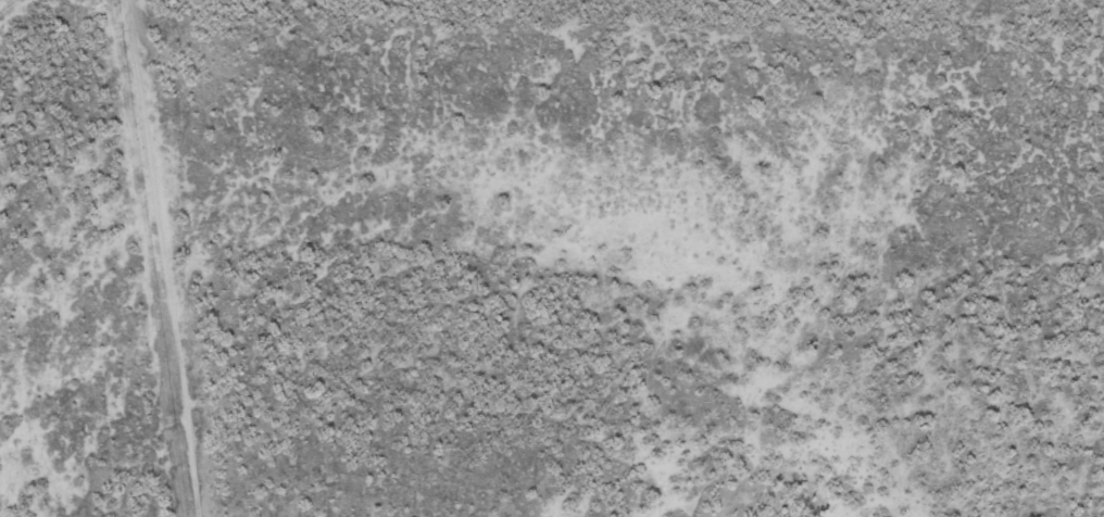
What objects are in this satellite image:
road: (63, 28)
road: (172, 258)

